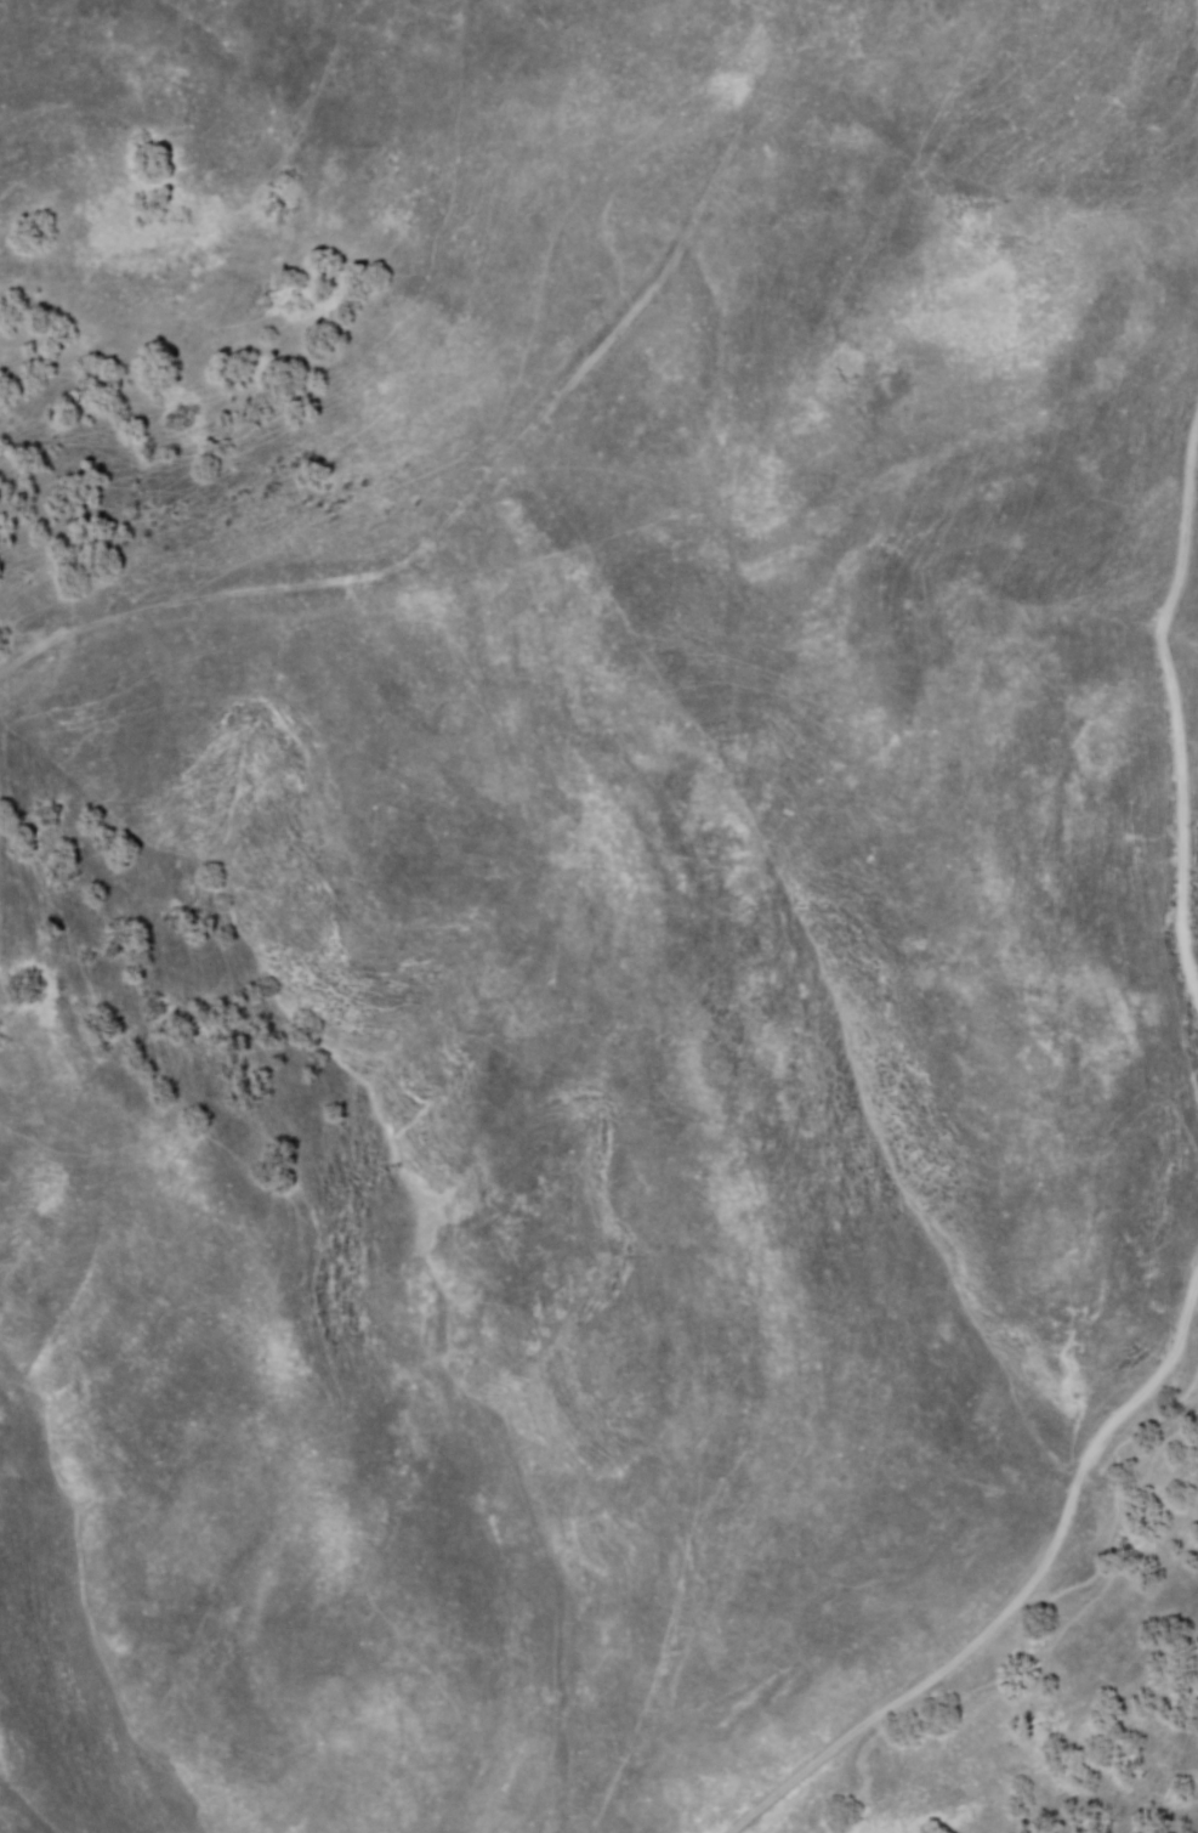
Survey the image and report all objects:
road: (1175, 705)
road: (1023, 1592)

